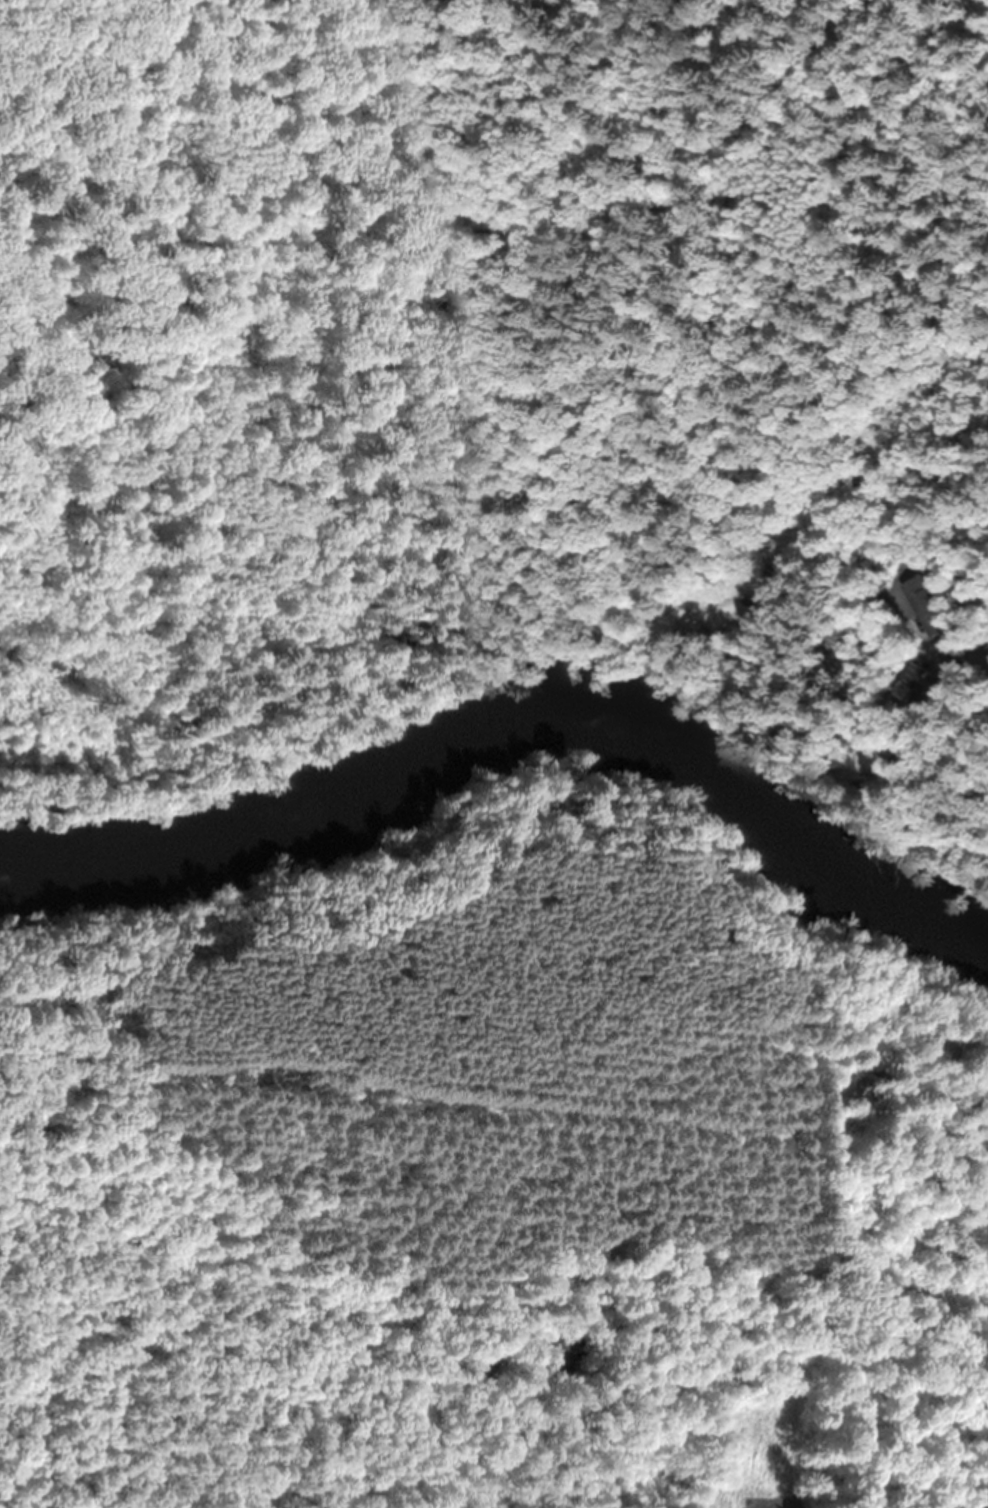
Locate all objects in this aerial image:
building: (942, 605)
river: (514, 731)

